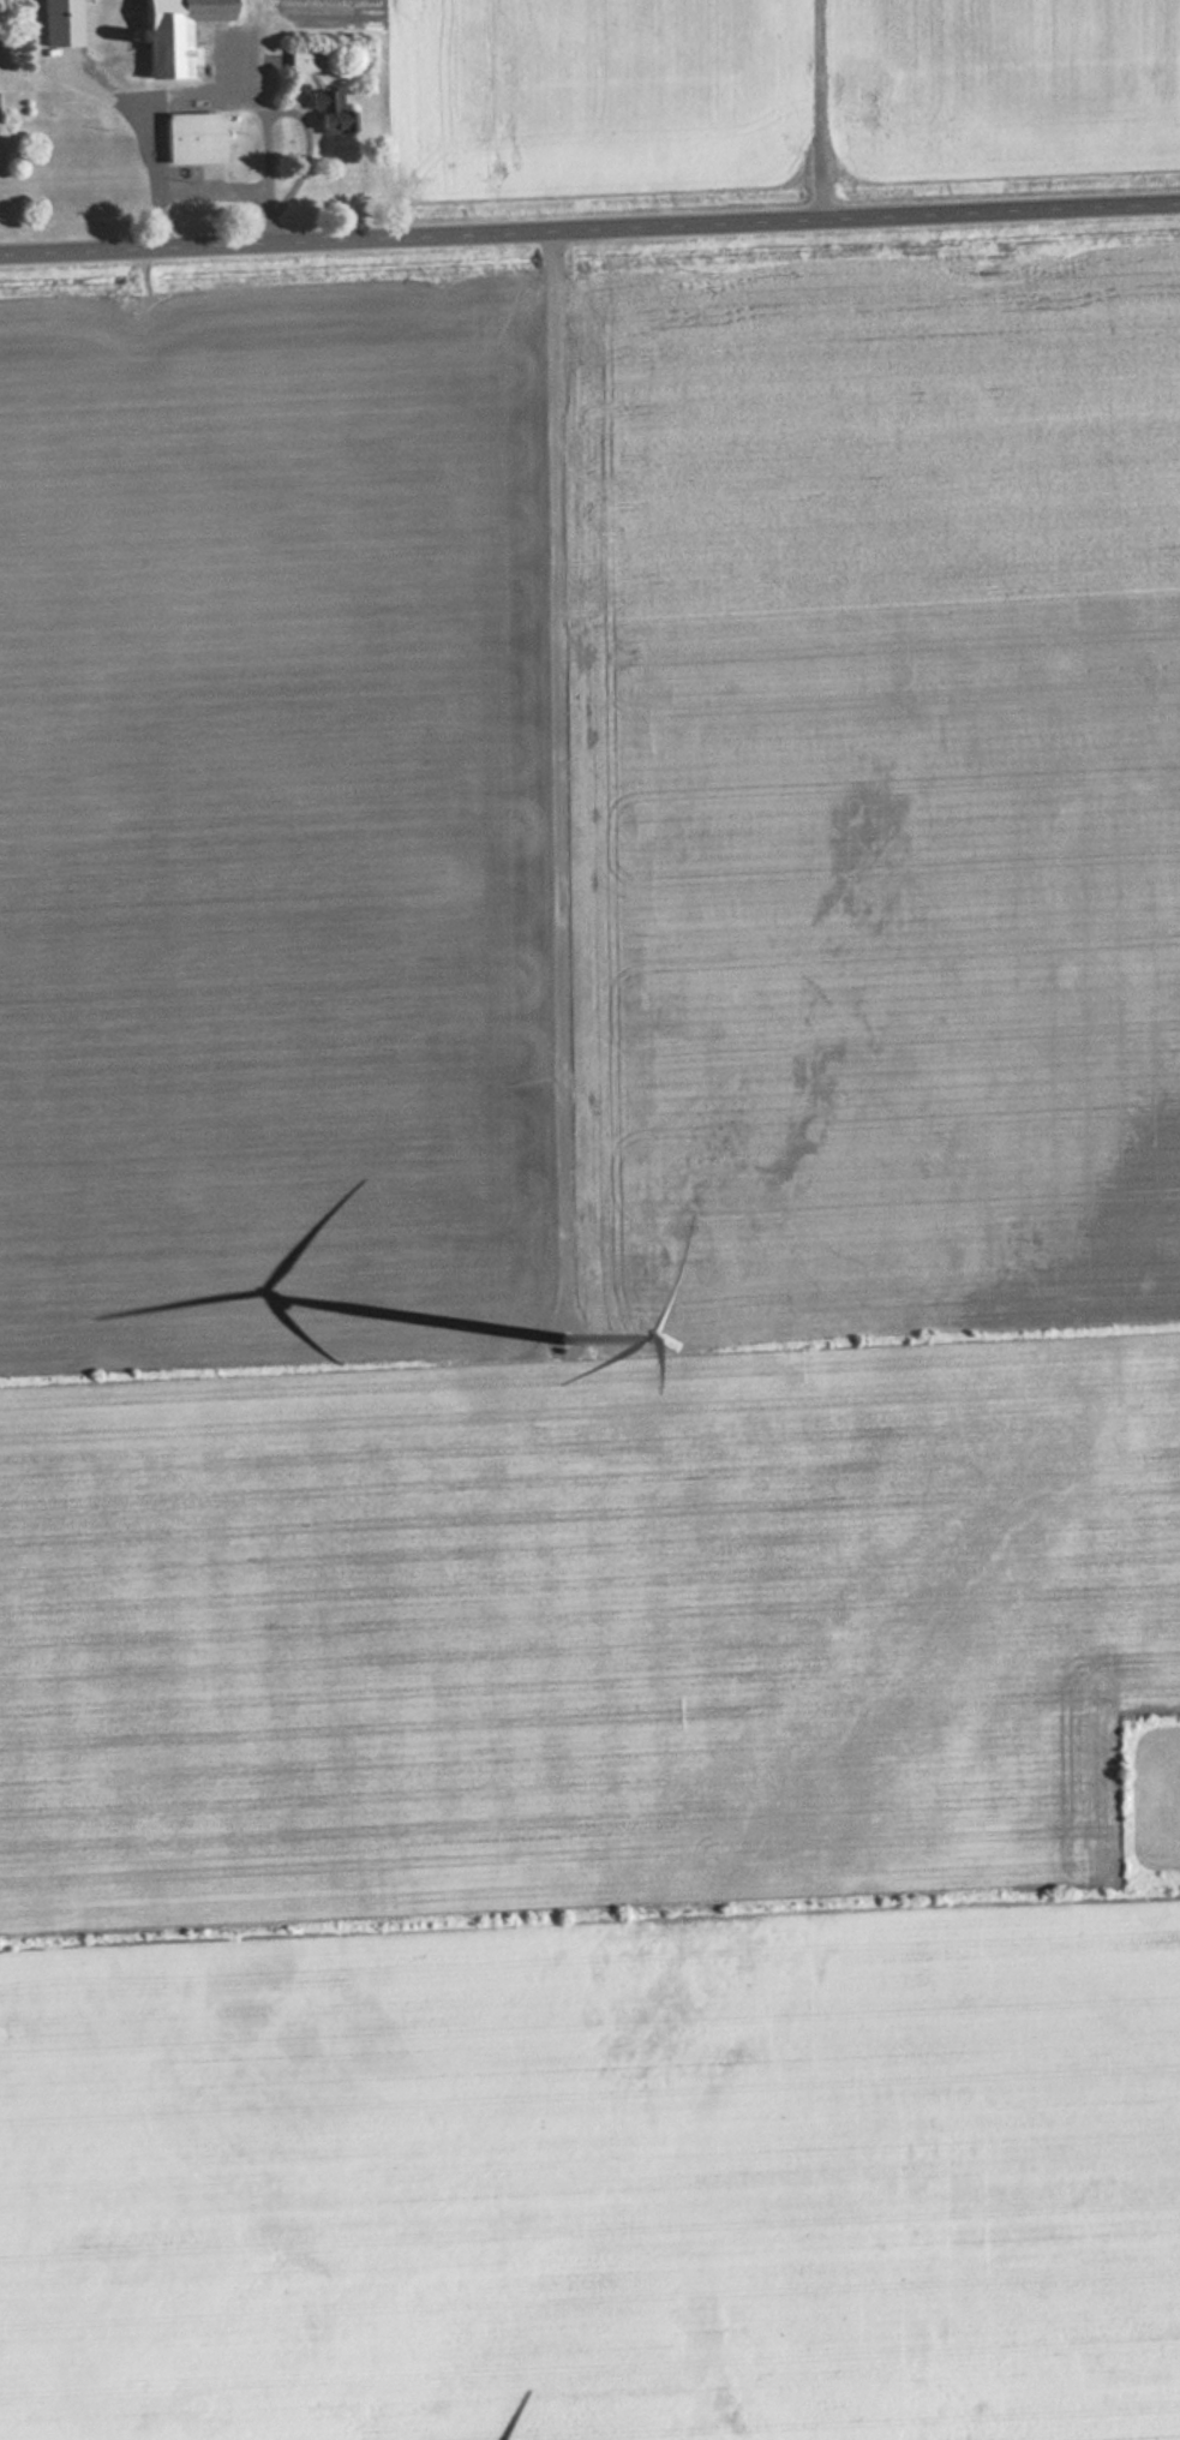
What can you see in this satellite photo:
building: (178, 32)
road: (828, 108)
building: (334, 112)
building: (194, 137)
road: (589, 227)
wind turbine: (568, 1332)

